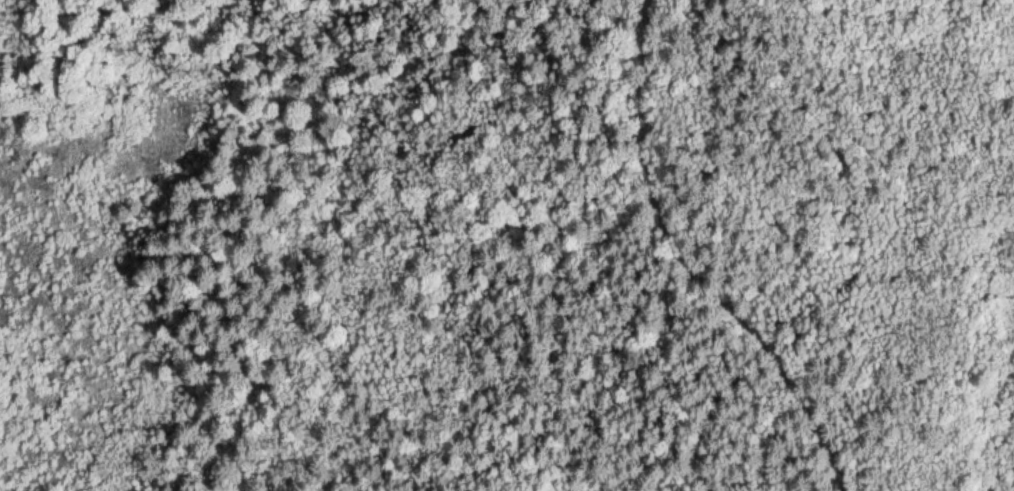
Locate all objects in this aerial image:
road: (697, 263)

